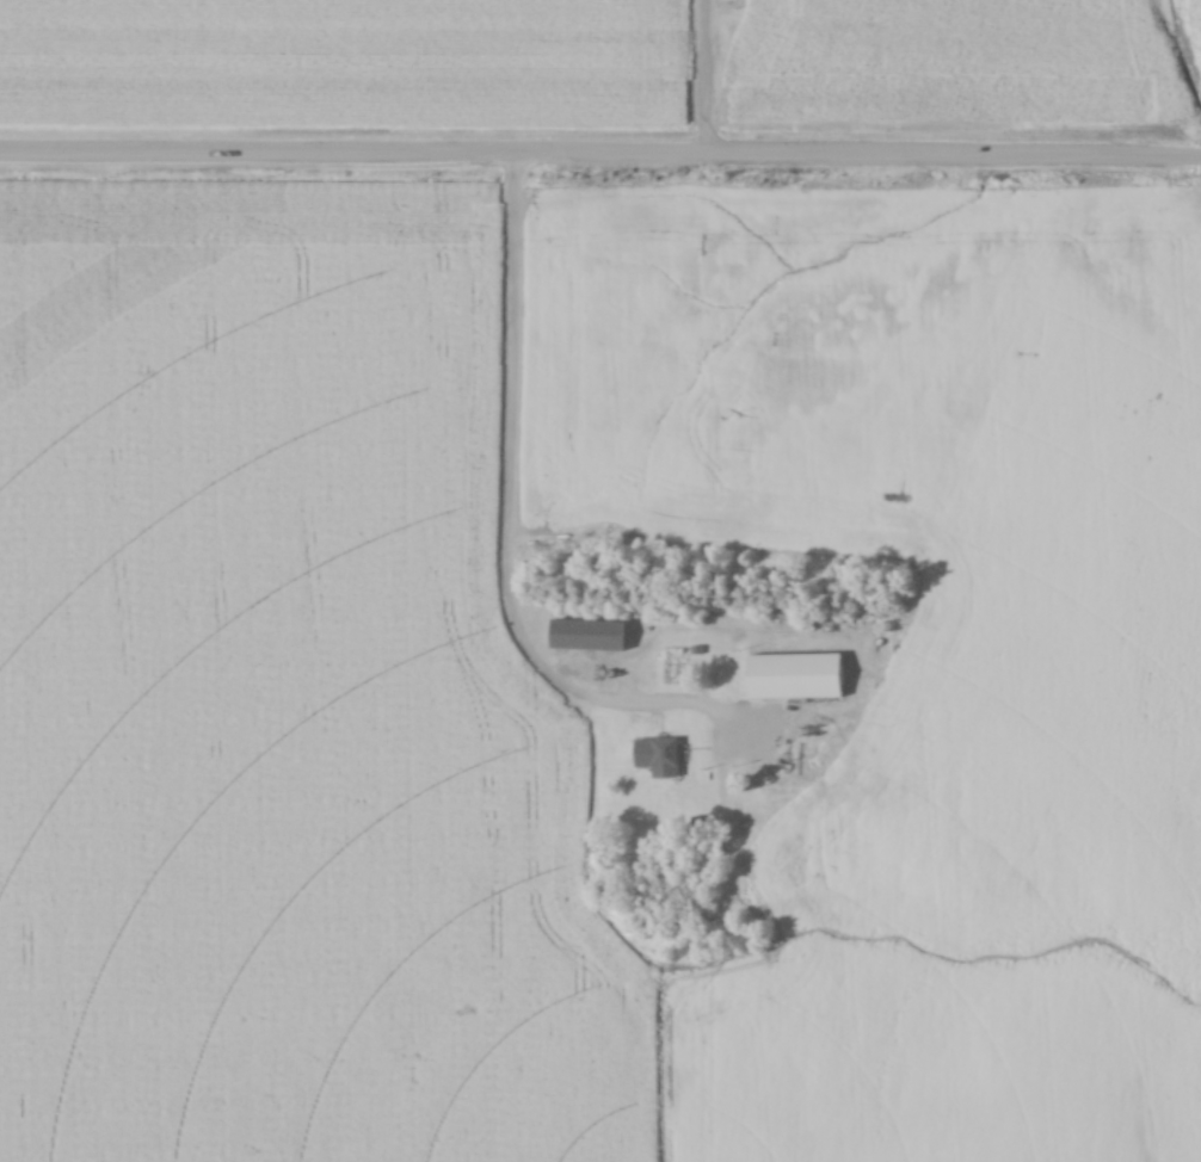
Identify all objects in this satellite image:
road: (701, 76)
road: (600, 153)
road: (503, 532)
building: (589, 636)
building: (796, 678)
building: (659, 758)

